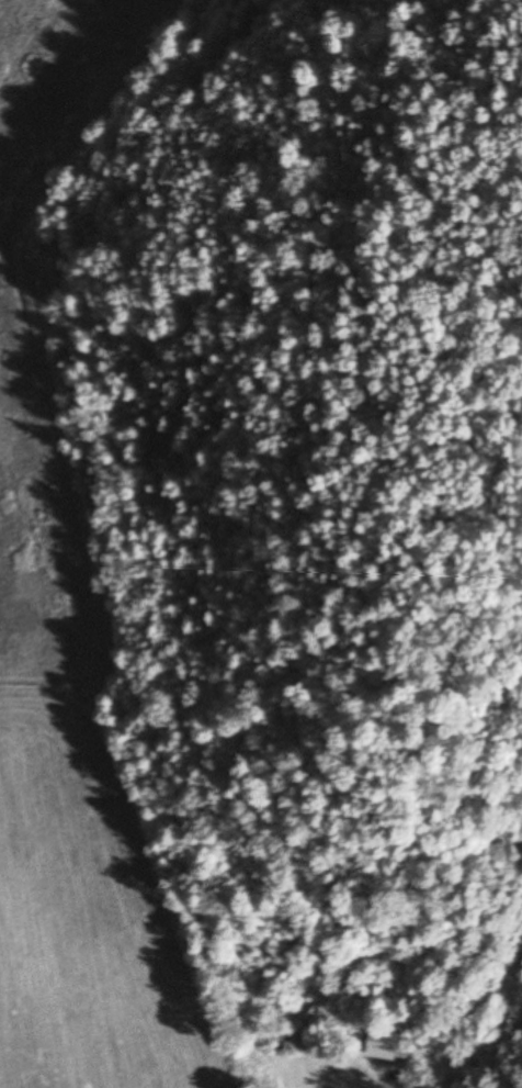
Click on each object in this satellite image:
building: (386, 1046)

